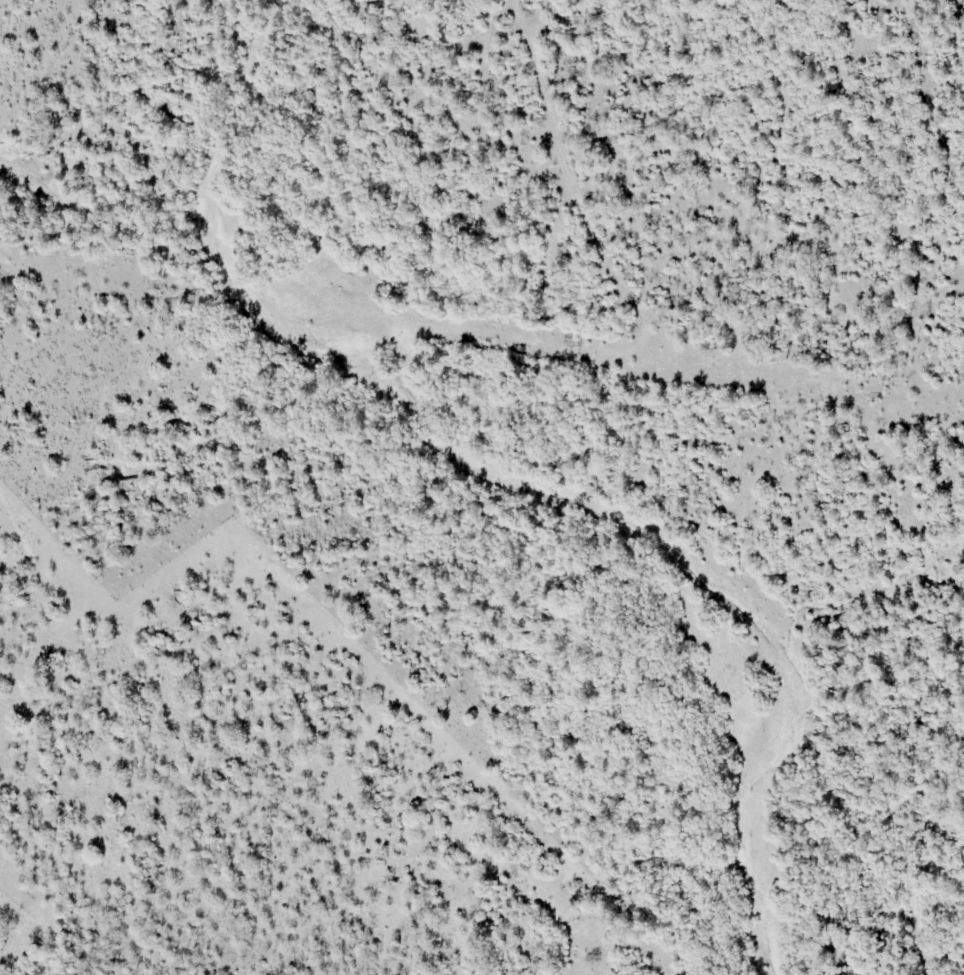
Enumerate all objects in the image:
road: (619, 280)
power tower: (164, 283)
power tower: (576, 348)
power tower: (882, 395)

